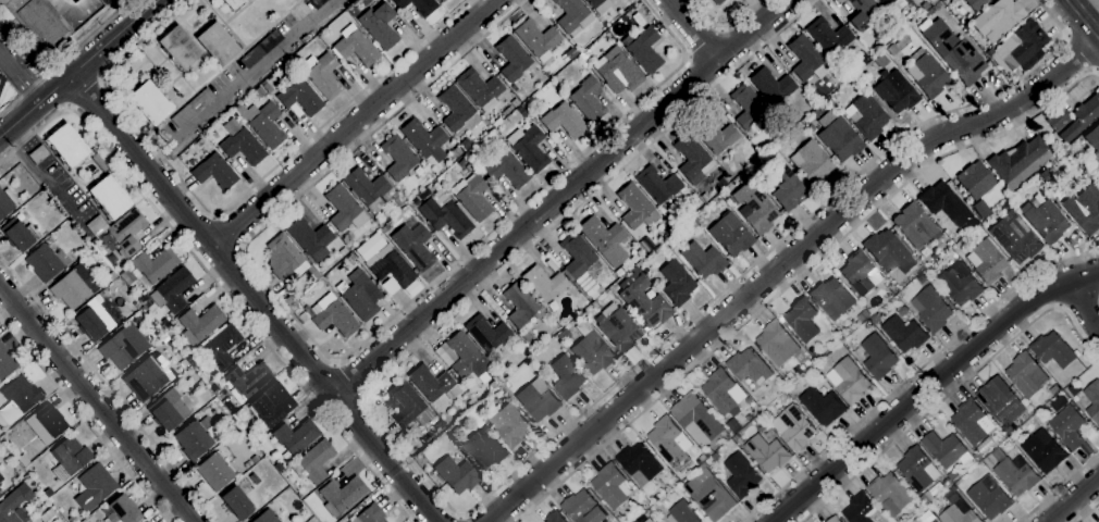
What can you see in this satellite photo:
building: (442, 0)
building: (737, 0)
building: (742, 0)
building: (103, 1)
building: (107, 1)
building: (717, 1)
building: (931, 1)
building: (234, 3)
building: (317, 3)
building: (893, 3)
building: (600, 4)
building: (975, 4)
building: (418, 5)
building: (925, 5)
building: (354, 11)
building: (863, 13)
building: (572, 14)
road: (1086, 15)
building: (997, 18)
building: (39, 22)
building: (380, 25)
road: (723, 26)
road: (694, 30)
building: (829, 36)
building: (536, 38)
road: (704, 41)
building: (218, 43)
building: (1023, 43)
building: (356, 46)
building: (180, 48)
building: (261, 49)
building: (643, 49)
building: (892, 49)
building: (954, 52)
building: (570, 53)
road: (1079, 53)
building: (582, 55)
road: (65, 57)
building: (513, 58)
building: (807, 59)
building: (881, 60)
building: (583, 64)
road: (79, 69)
building: (618, 71)
building: (322, 74)
building: (930, 74)
road: (20, 77)
road: (245, 83)
building: (479, 86)
building: (546, 86)
building: (268, 87)
building: (774, 87)
building: (2, 88)
road: (85, 90)
building: (896, 90)
building: (260, 91)
building: (299, 97)
building: (588, 99)
building: (515, 101)
building: (150, 102)
building: (750, 107)
building: (193, 108)
building: (458, 109)
building: (506, 110)
building: (818, 110)
building: (868, 116)
building: (1082, 117)
building: (1058, 119)
road: (354, 121)
building: (564, 121)
building: (267, 125)
building: (801, 127)
building: (811, 127)
building: (715, 135)
building: (838, 136)
building: (424, 139)
building: (1094, 140)
building: (199, 142)
building: (66, 145)
building: (243, 146)
building: (528, 146)
building: (467, 148)
building: (457, 153)
building: (38, 154)
building: (398, 157)
building: (692, 157)
building: (100, 162)
building: (462, 162)
building: (812, 162)
building: (1020, 162)
building: (469, 166)
building: (507, 170)
building: (214, 171)
building: (1098, 171)
building: (1047, 173)
building: (740, 178)
building: (975, 179)
building: (658, 184)
building: (787, 187)
building: (369, 189)
road: (563, 196)
building: (704, 196)
building: (109, 197)
building: (472, 197)
building: (399, 200)
building: (7, 201)
road: (227, 201)
building: (944, 202)
building: (1004, 206)
building: (637, 207)
building: (756, 207)
building: (344, 209)
building: (1085, 209)
building: (383, 214)
building: (444, 214)
building: (1046, 220)
building: (390, 222)
building: (95, 227)
building: (384, 227)
building: (916, 227)
road: (225, 232)
building: (20, 233)
building: (124, 233)
building: (731, 236)
building: (970, 236)
building: (310, 238)
building: (605, 239)
building: (1015, 239)
building: (413, 245)
building: (645, 245)
building: (343, 251)
building: (889, 252)
building: (576, 254)
building: (285, 257)
building: (703, 259)
building: (986, 262)
building: (44, 263)
building: (156, 263)
road: (781, 264)
building: (392, 265)
building: (929, 270)
building: (859, 273)
building: (112, 275)
road: (795, 277)
road: (214, 278)
building: (922, 279)
building: (544, 283)
building: (676, 283)
building: (75, 286)
building: (960, 286)
building: (172, 289)
building: (600, 289)
road: (258, 297)
building: (362, 297)
building: (832, 298)
building: (643, 299)
road: (1078, 302)
building: (521, 304)
building: (594, 304)
road: (1086, 307)
building: (931, 310)
building: (306, 313)
building: (334, 315)
building: (863, 316)
building: (802, 320)
building: (202, 322)
building: (90, 324)
building: (868, 324)
building: (619, 330)
building: (486, 332)
building: (904, 334)
building: (563, 335)
building: (527, 336)
building: (777, 344)
building: (124, 346)
building: (220, 347)
building: (592, 349)
building: (1053, 350)
building: (466, 357)
building: (816, 357)
building: (878, 357)
building: (190, 359)
road: (338, 359)
building: (5, 361)
building: (187, 365)
building: (750, 366)
road: (913, 374)
building: (1026, 375)
building: (567, 377)
building: (145, 380)
road: (349, 380)
building: (246, 381)
building: (851, 381)
building: (433, 383)
building: (493, 383)
road: (928, 385)
road: (109, 388)
building: (1054, 389)
road: (954, 390)
building: (724, 391)
building: (18, 398)
building: (483, 399)
building: (539, 399)
building: (471, 401)
building: (1000, 401)
building: (1094, 401)
road: (97, 403)
building: (272, 403)
building: (409, 405)
building: (230, 406)
building: (477, 407)
building: (823, 407)
building: (168, 410)
building: (250, 412)
building: (697, 417)
building: (50, 419)
road: (84, 419)
building: (973, 422)
building: (1066, 423)
building: (439, 425)
building: (510, 425)
building: (794, 428)
building: (1007, 430)
building: (485, 433)
building: (296, 436)
building: (197, 437)
building: (736, 438)
building: (666, 439)
building: (484, 450)
building: (947, 450)
building: (768, 452)
building: (1044, 453)
building: (286, 455)
building: (69, 457)
building: (23, 460)
building: (251, 460)
building: (316, 460)
building: (703, 465)
building: (279, 467)
building: (641, 467)
building: (918, 470)
building: (215, 471)
building: (456, 474)
building: (953, 475)
building: (1016, 475)
building: (741, 476)
building: (1, 478)
building: (255, 478)
building: (95, 486)
building: (612, 486)
road: (1060, 487)
building: (0, 488)
building: (48, 492)
building: (890, 492)
building: (342, 495)
road: (486, 496)
building: (711, 498)
building: (989, 498)
road: (1074, 500)
building: (237, 502)
building: (15, 505)
building: (919, 506)
building: (583, 508)
building: (860, 509)
building: (122, 510)
road: (1088, 512)
building: (682, 513)
building: (959, 513)
building: (371, 514)
building: (267, 517)
building: (72, 518)
road: (462, 518)
building: (555, 518)
building: (835, 520)
building: (649, 521)
building: (931, 521)
building: (934, 521)

